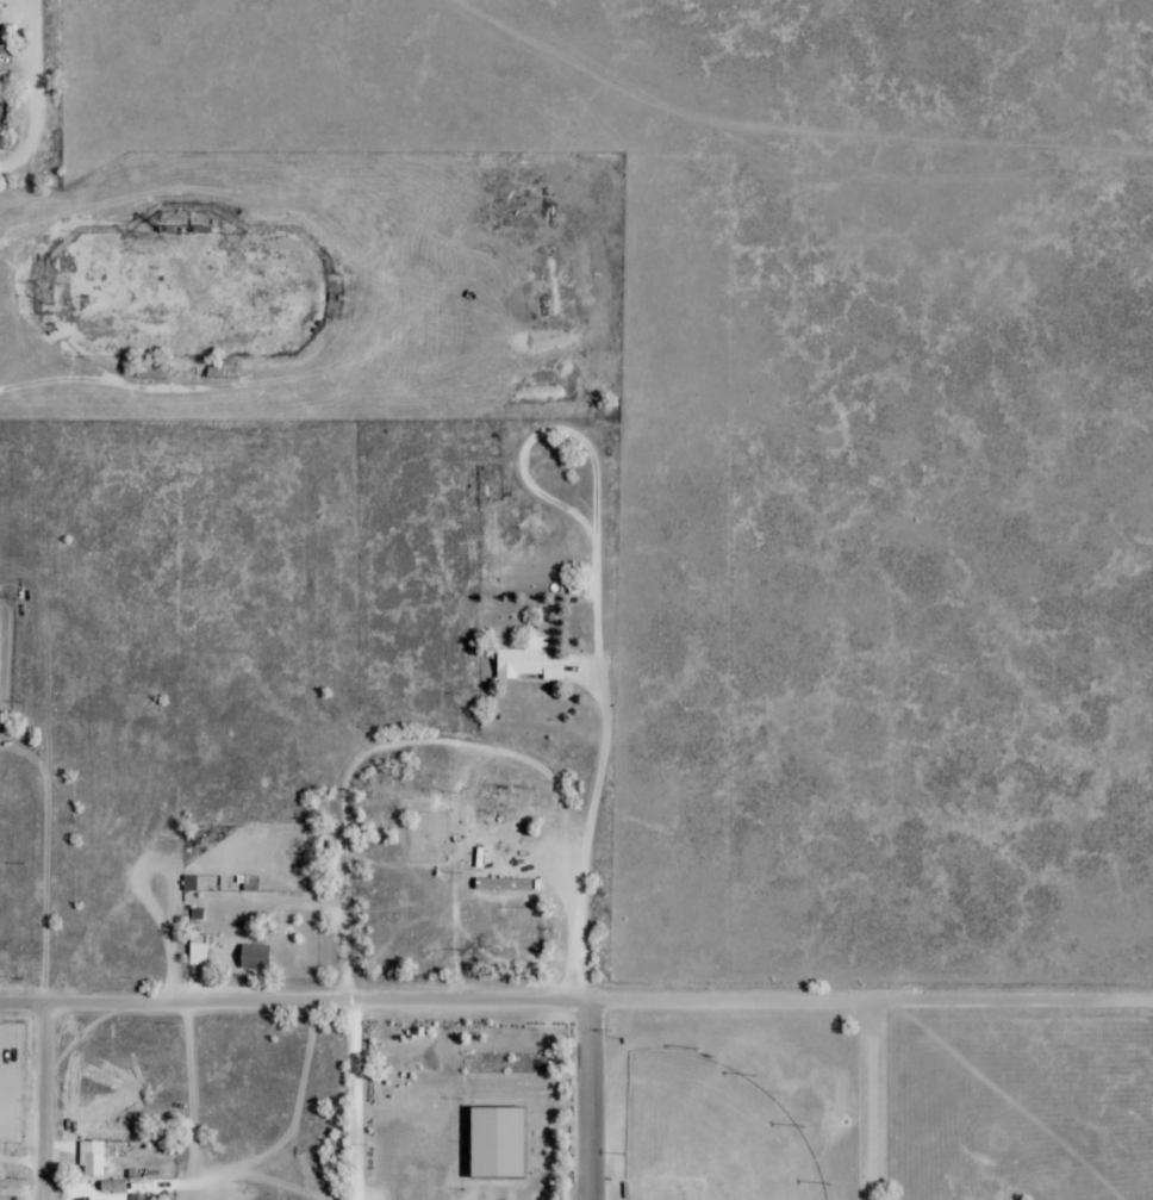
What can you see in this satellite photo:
road: (37, 86)
building: (0, 116)
road: (17, 170)
road: (264, 195)
road: (592, 212)
park: (188, 293)
road: (19, 312)
road: (25, 350)
road: (149, 383)
building: (528, 663)
road: (587, 850)
building: (249, 883)
road: (342, 885)
building: (195, 953)
building: (253, 957)
road: (575, 1001)
road: (735, 1011)
road: (426, 1036)
road: (619, 1046)
road: (694, 1049)
road: (789, 1056)
road: (356, 1100)
park: (473, 1100)
road: (874, 1101)
road: (43, 1102)
road: (138, 1102)
road: (606, 1103)
road: (866, 1106)
road: (474, 1115)
park: (715, 1132)
building: (501, 1139)
building: (89, 1159)
road: (557, 1163)
road: (574, 1164)
road: (557, 1182)
parking lot: (375, 1192)

